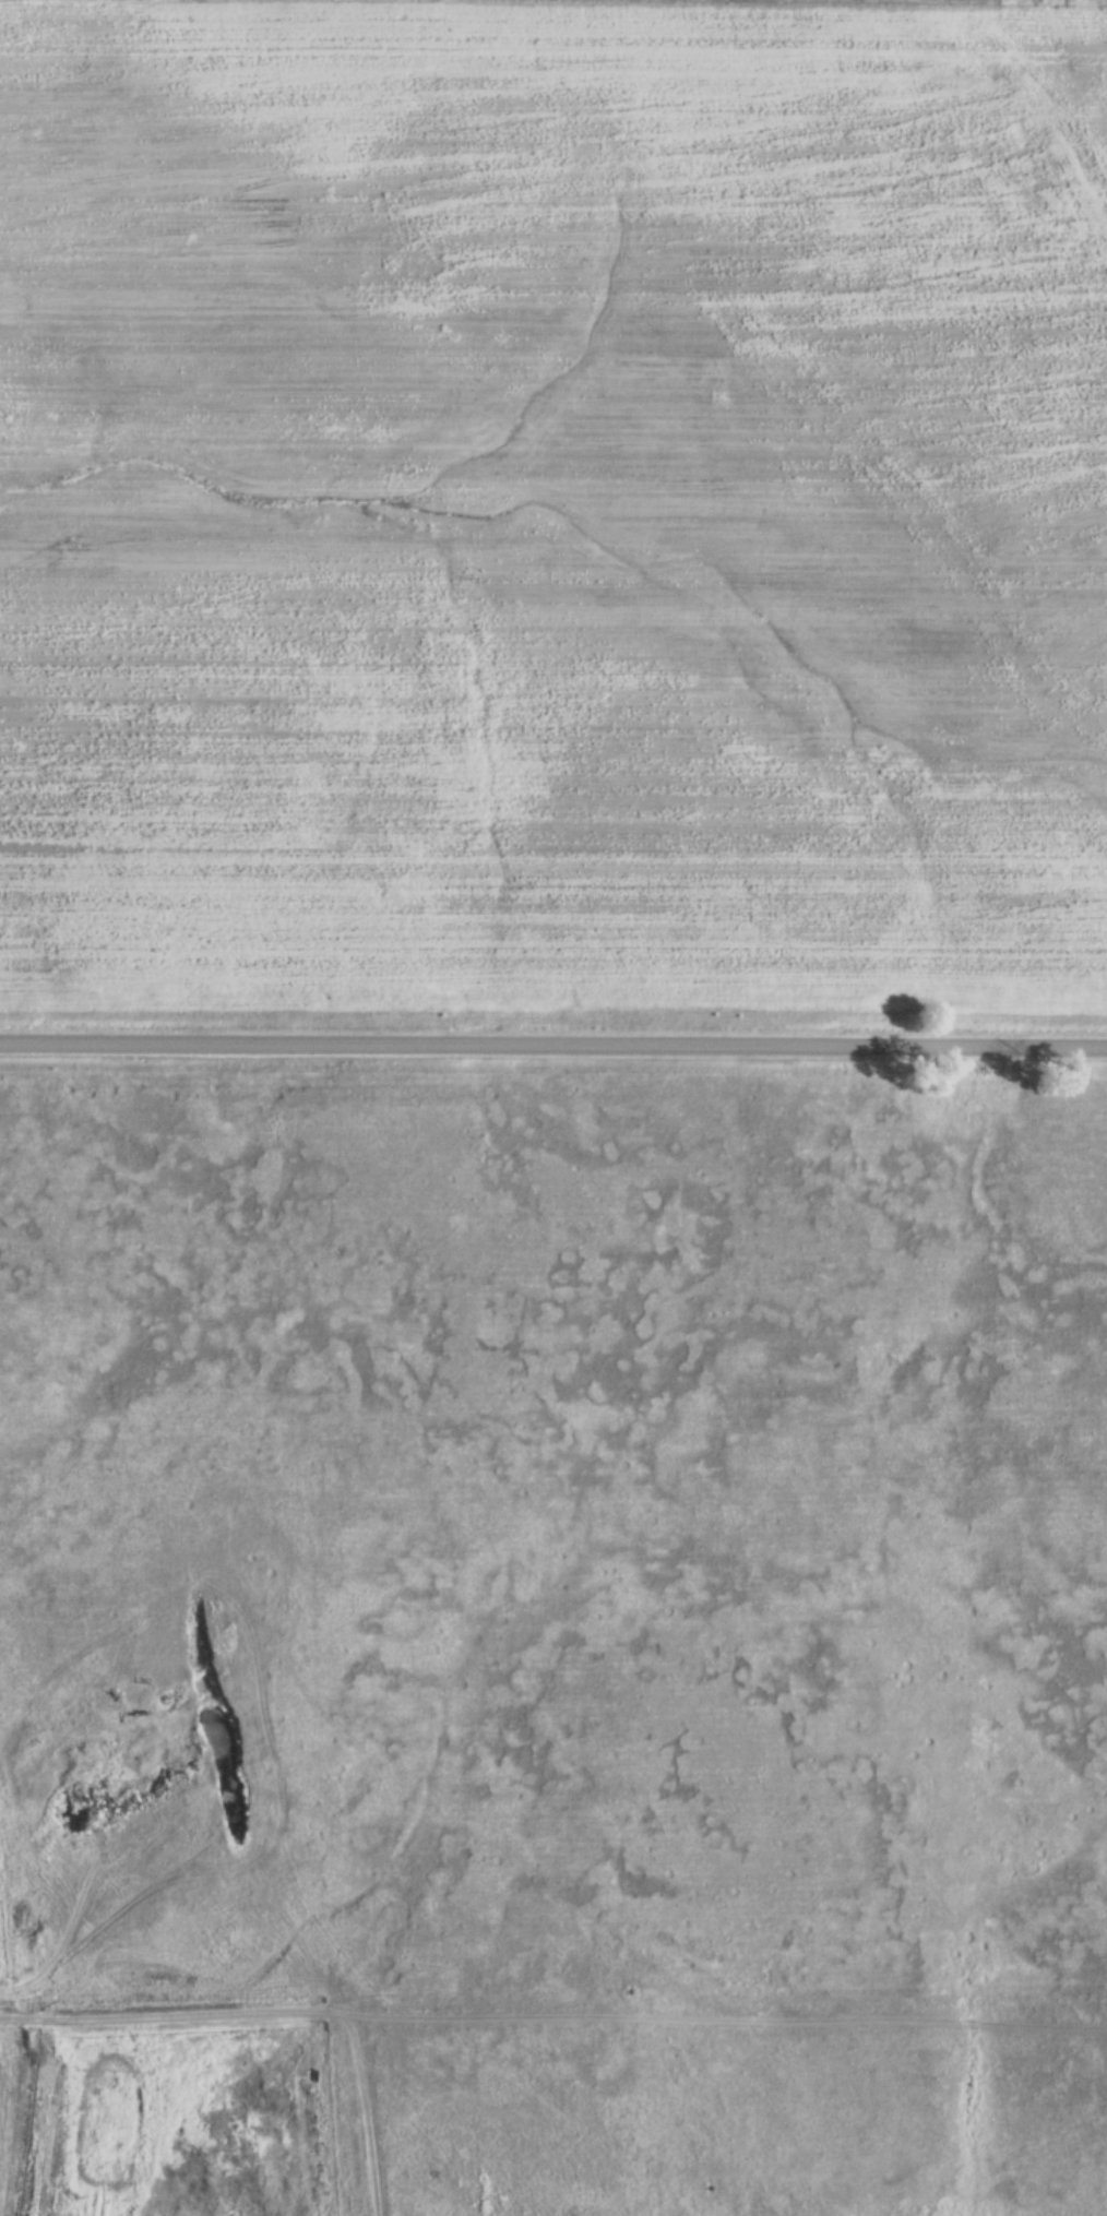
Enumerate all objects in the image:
road: (553, 1044)

